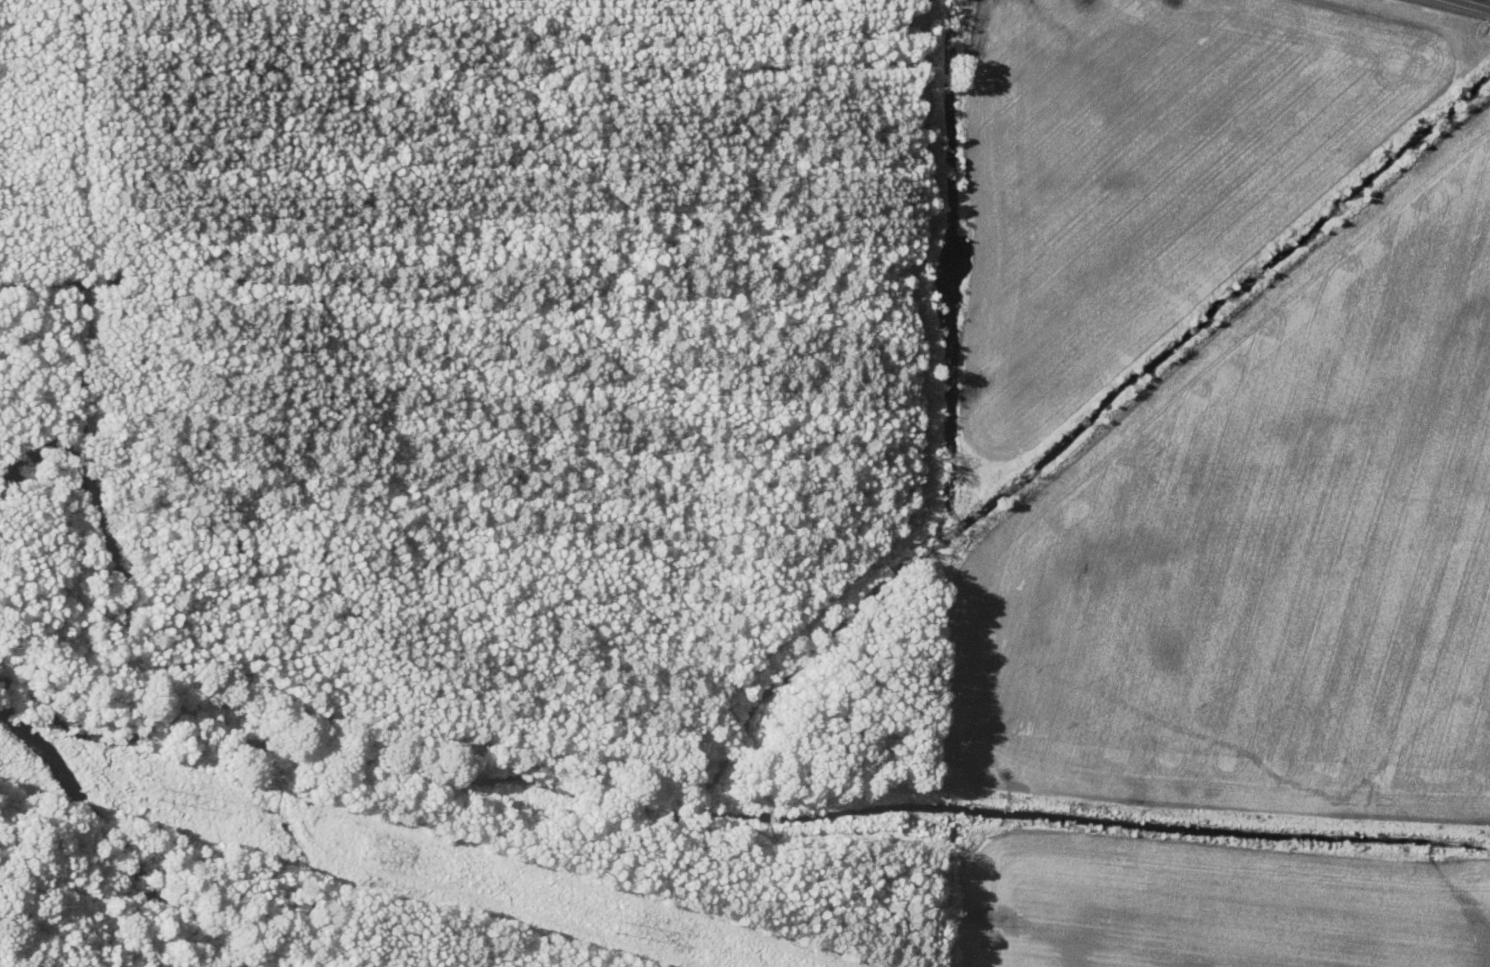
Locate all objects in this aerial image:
road: (1485, 1)
power tower: (150, 792)
power tower: (613, 926)

